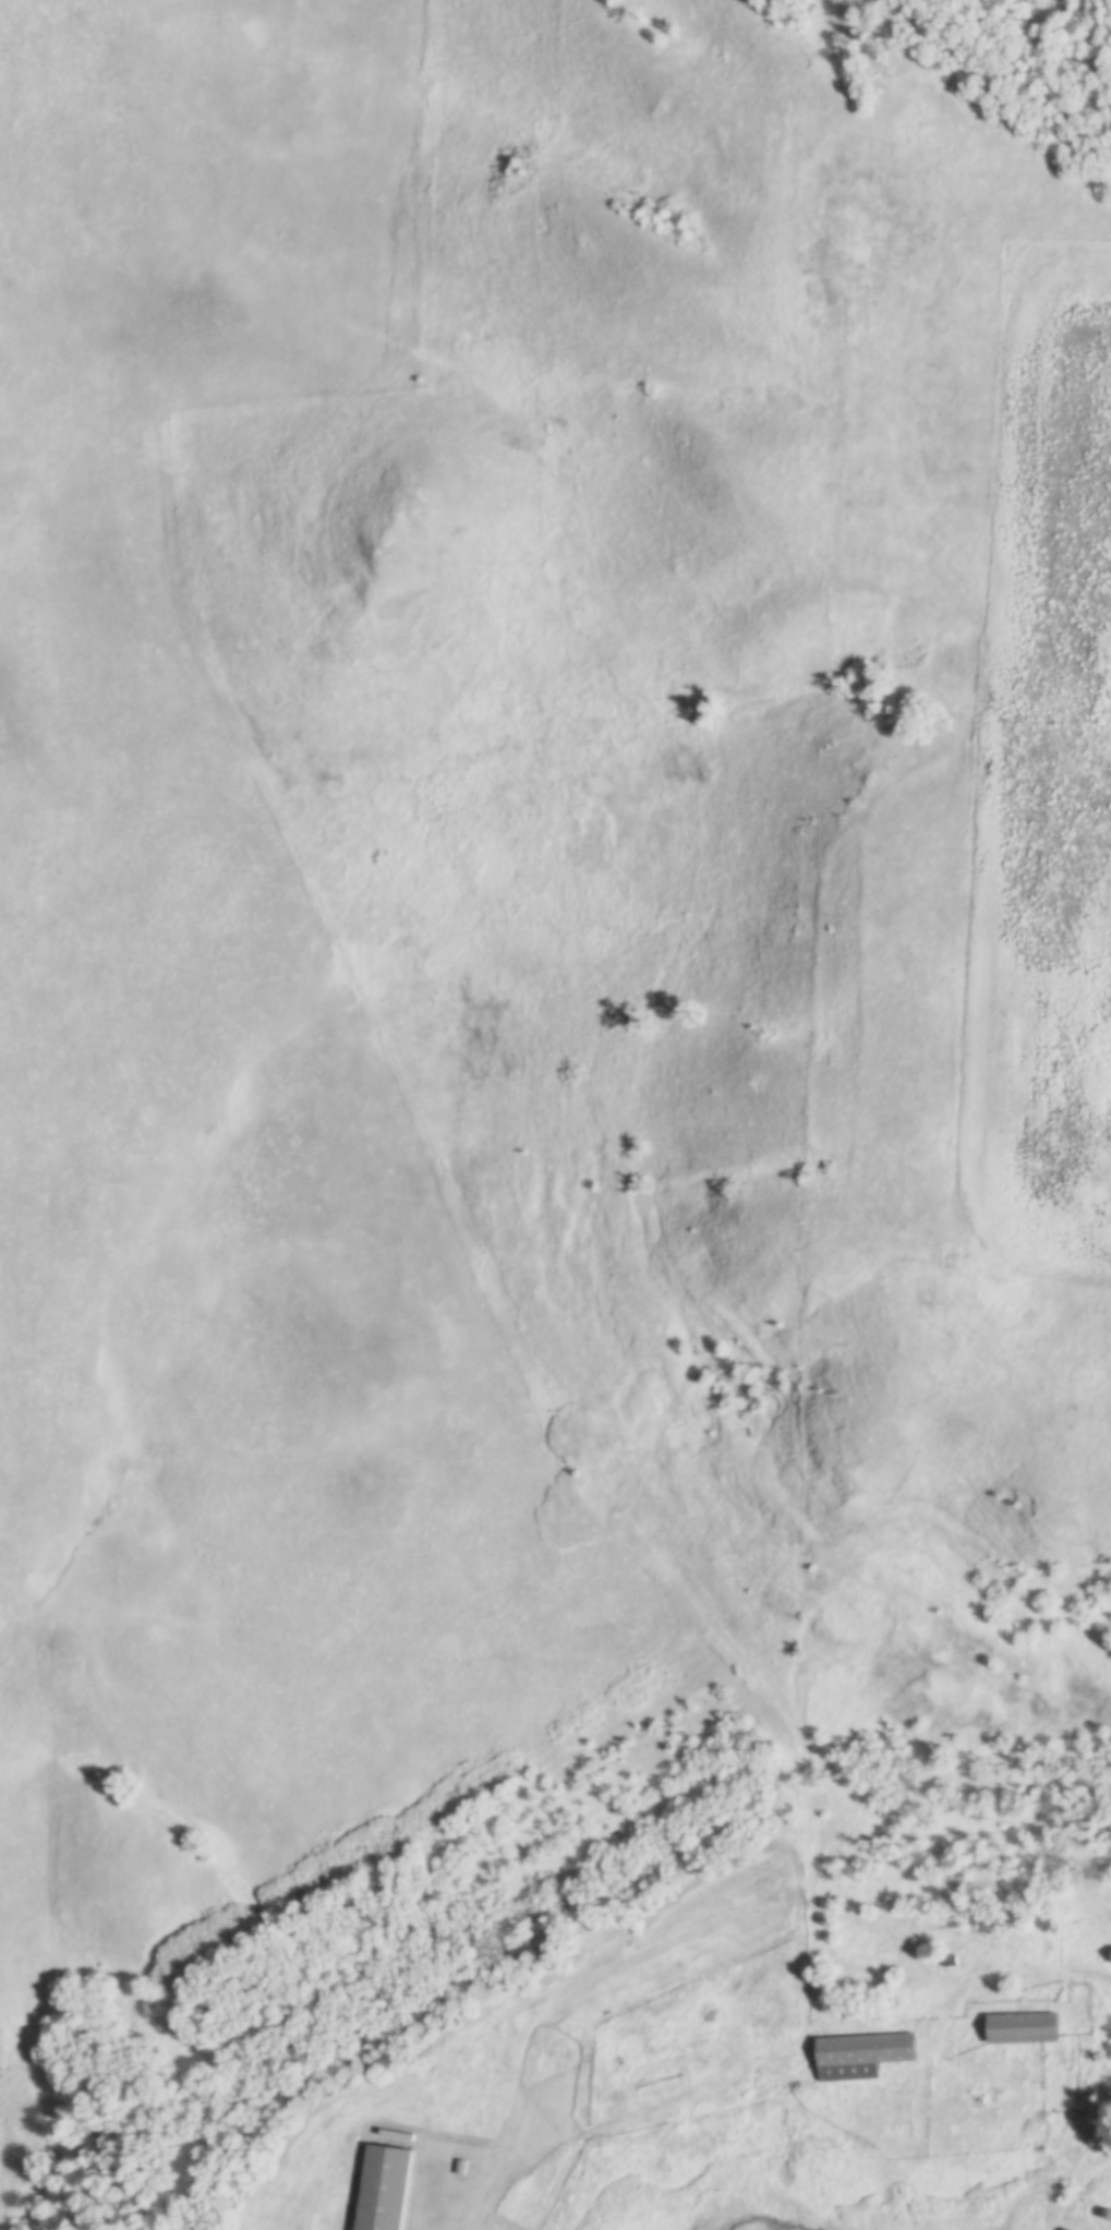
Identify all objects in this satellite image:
building: (1109, 1953)
building: (951, 1960)
building: (1017, 2026)
building: (855, 2053)
building: (385, 2187)
building: (1104, 2213)
silo: (1104, 2213)
building: (1066, 2229)
silo: (1066, 2229)

